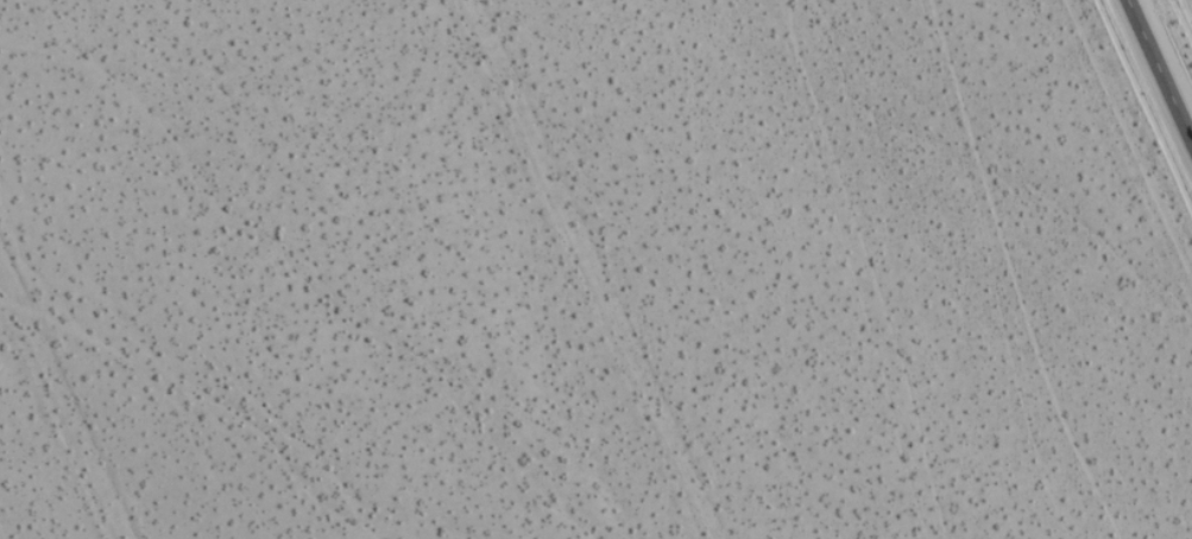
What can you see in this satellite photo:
road: (1159, 71)

